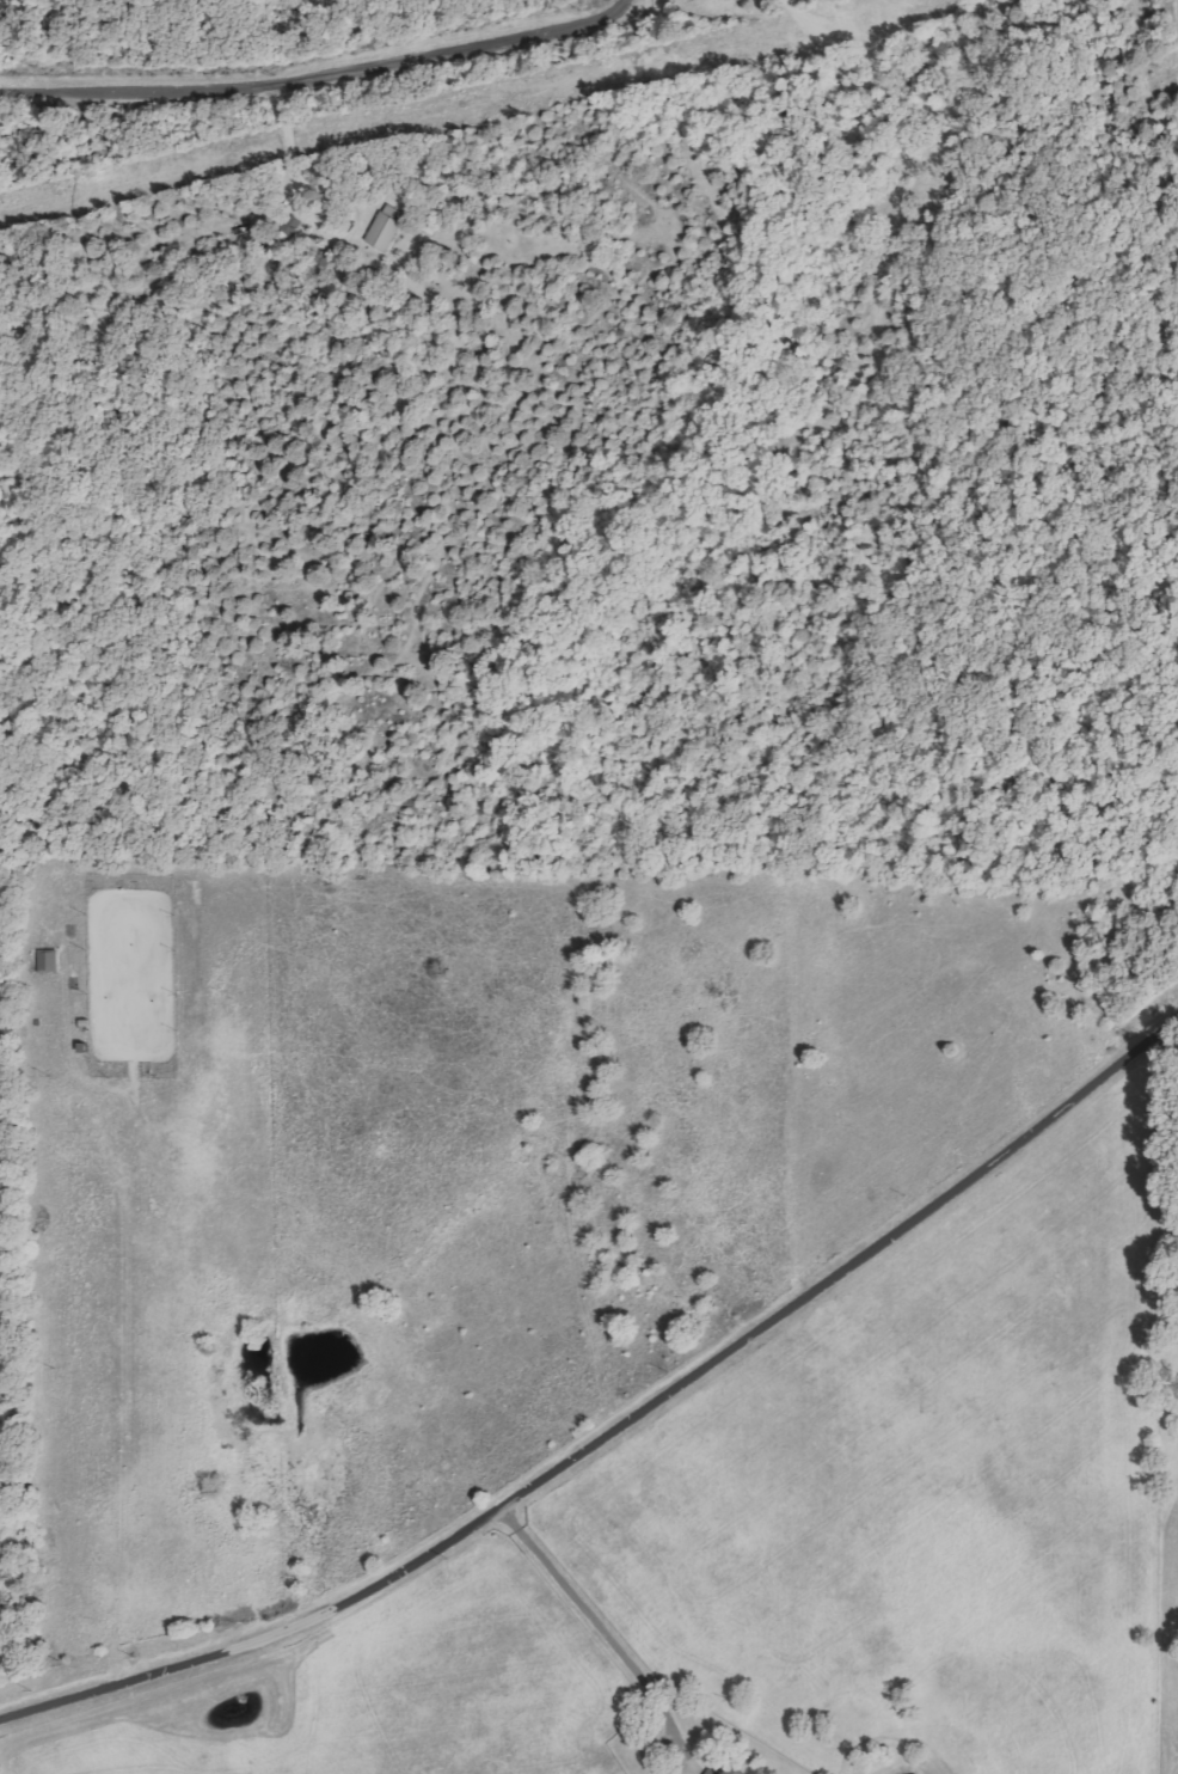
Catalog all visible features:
road: (317, 77)
building: (387, 227)
building: (50, 961)
road: (619, 1423)
building: (740, 1770)

